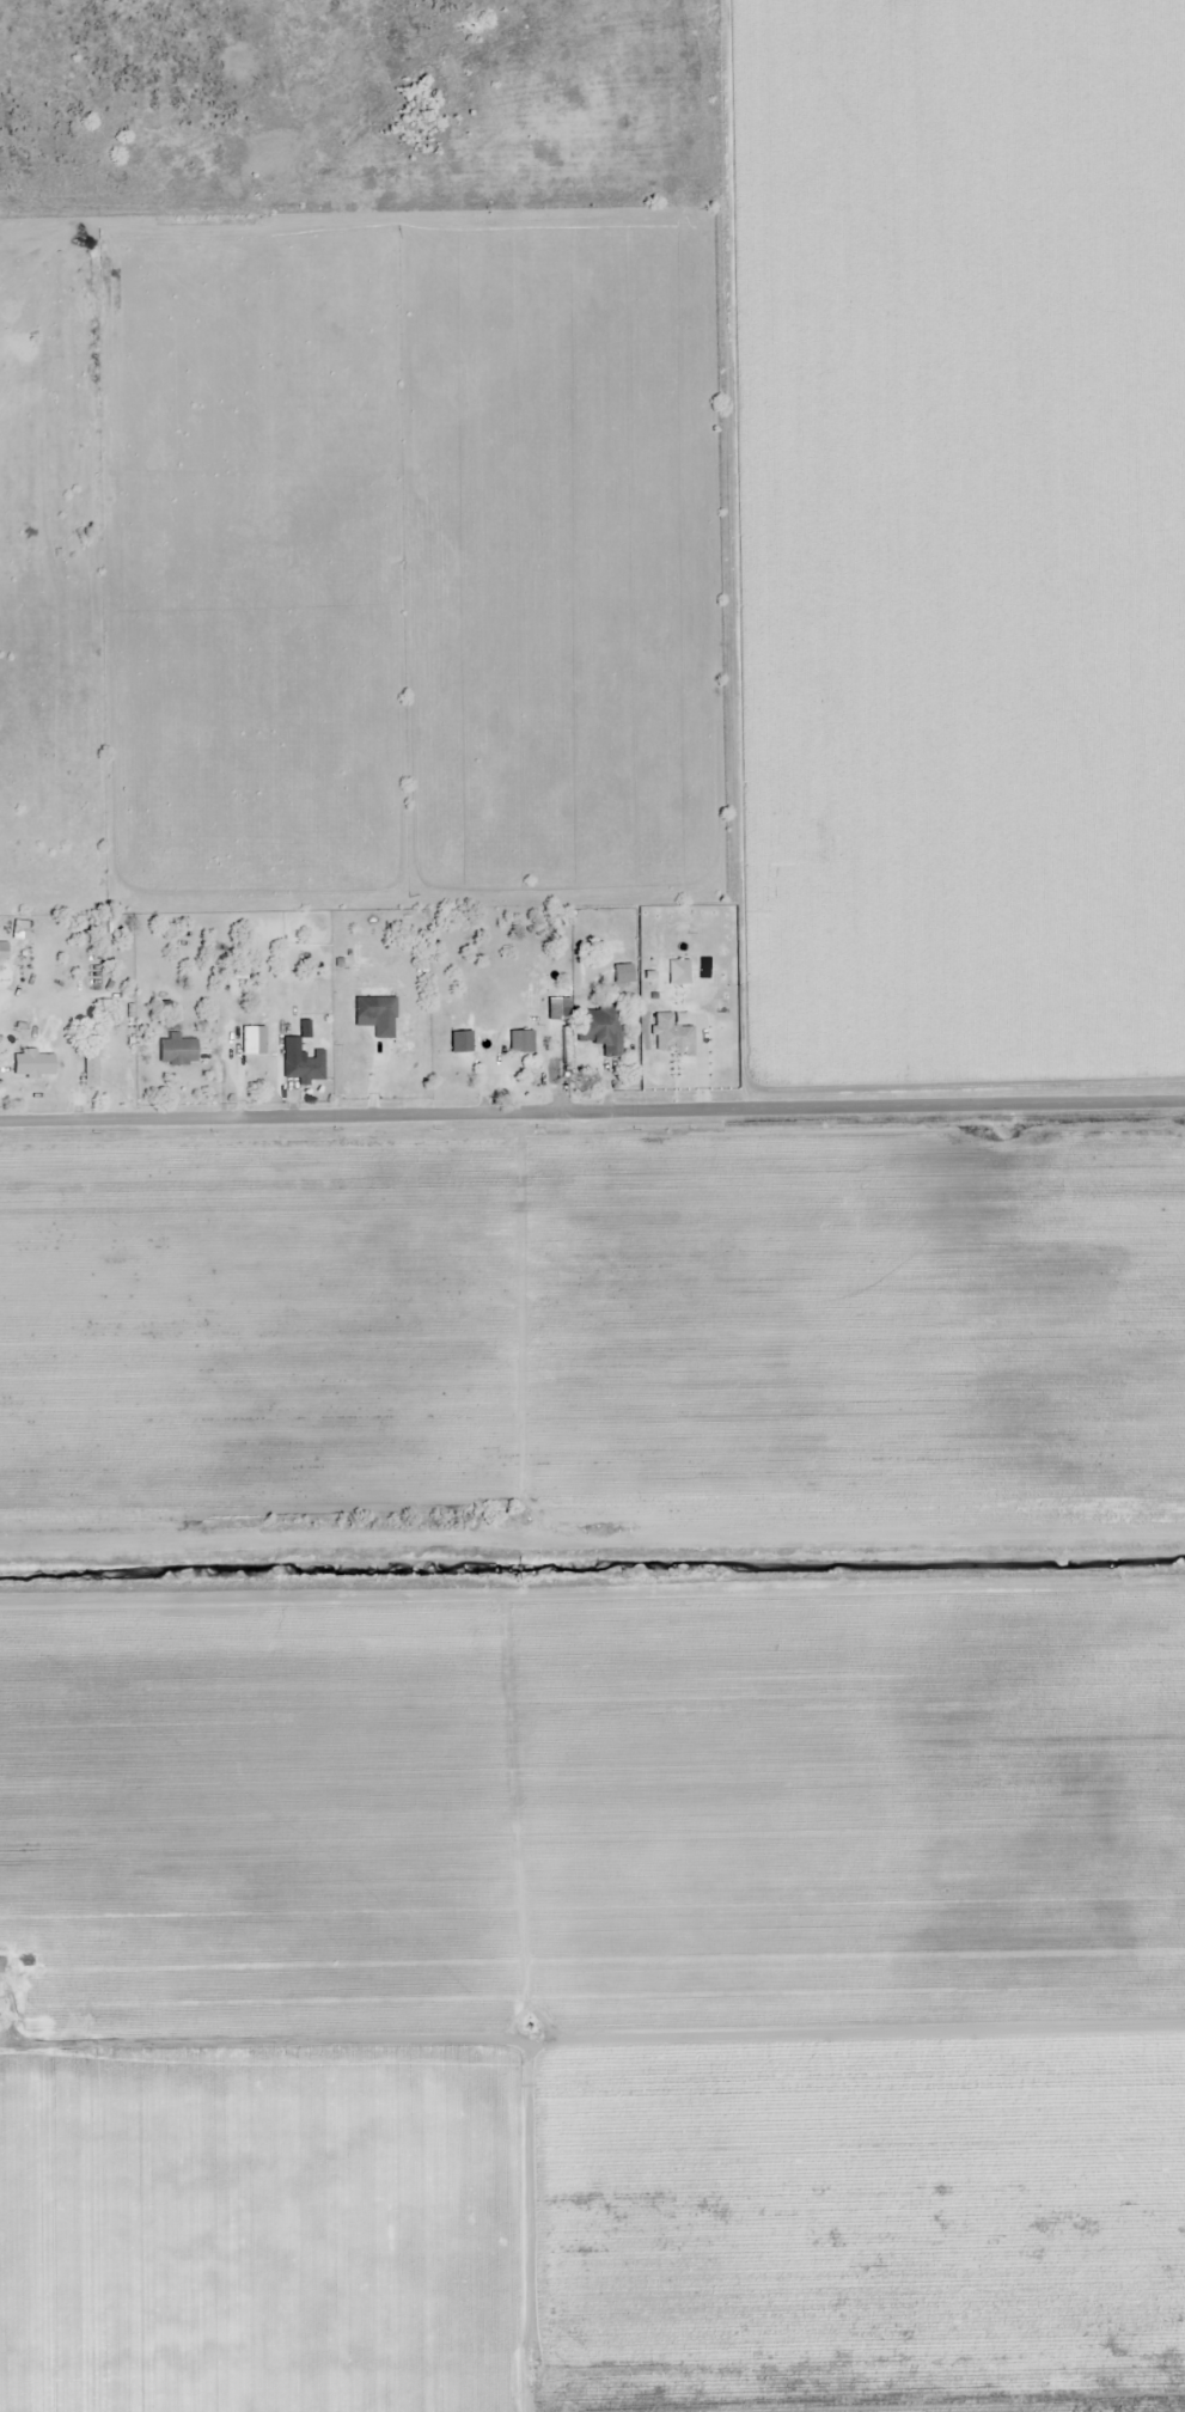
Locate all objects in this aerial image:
building: (19, 929)
building: (1, 951)
building: (362, 1007)
building: (598, 1026)
building: (250, 1039)
building: (519, 1039)
building: (175, 1049)
building: (30, 1063)
building: (87, 1064)
building: (301, 1065)
road: (592, 1110)

